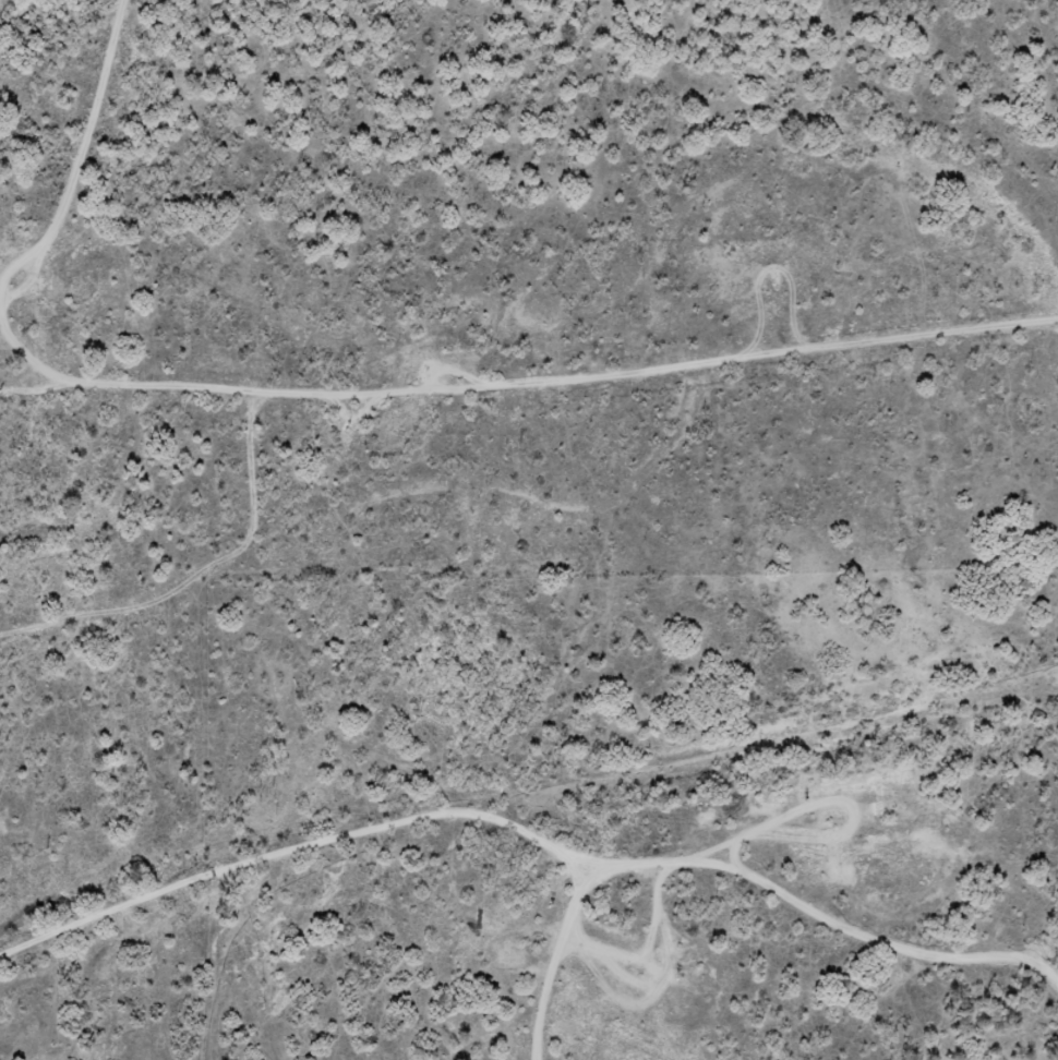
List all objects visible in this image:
road: (801, 124)
road: (566, 236)
railway: (517, 803)

